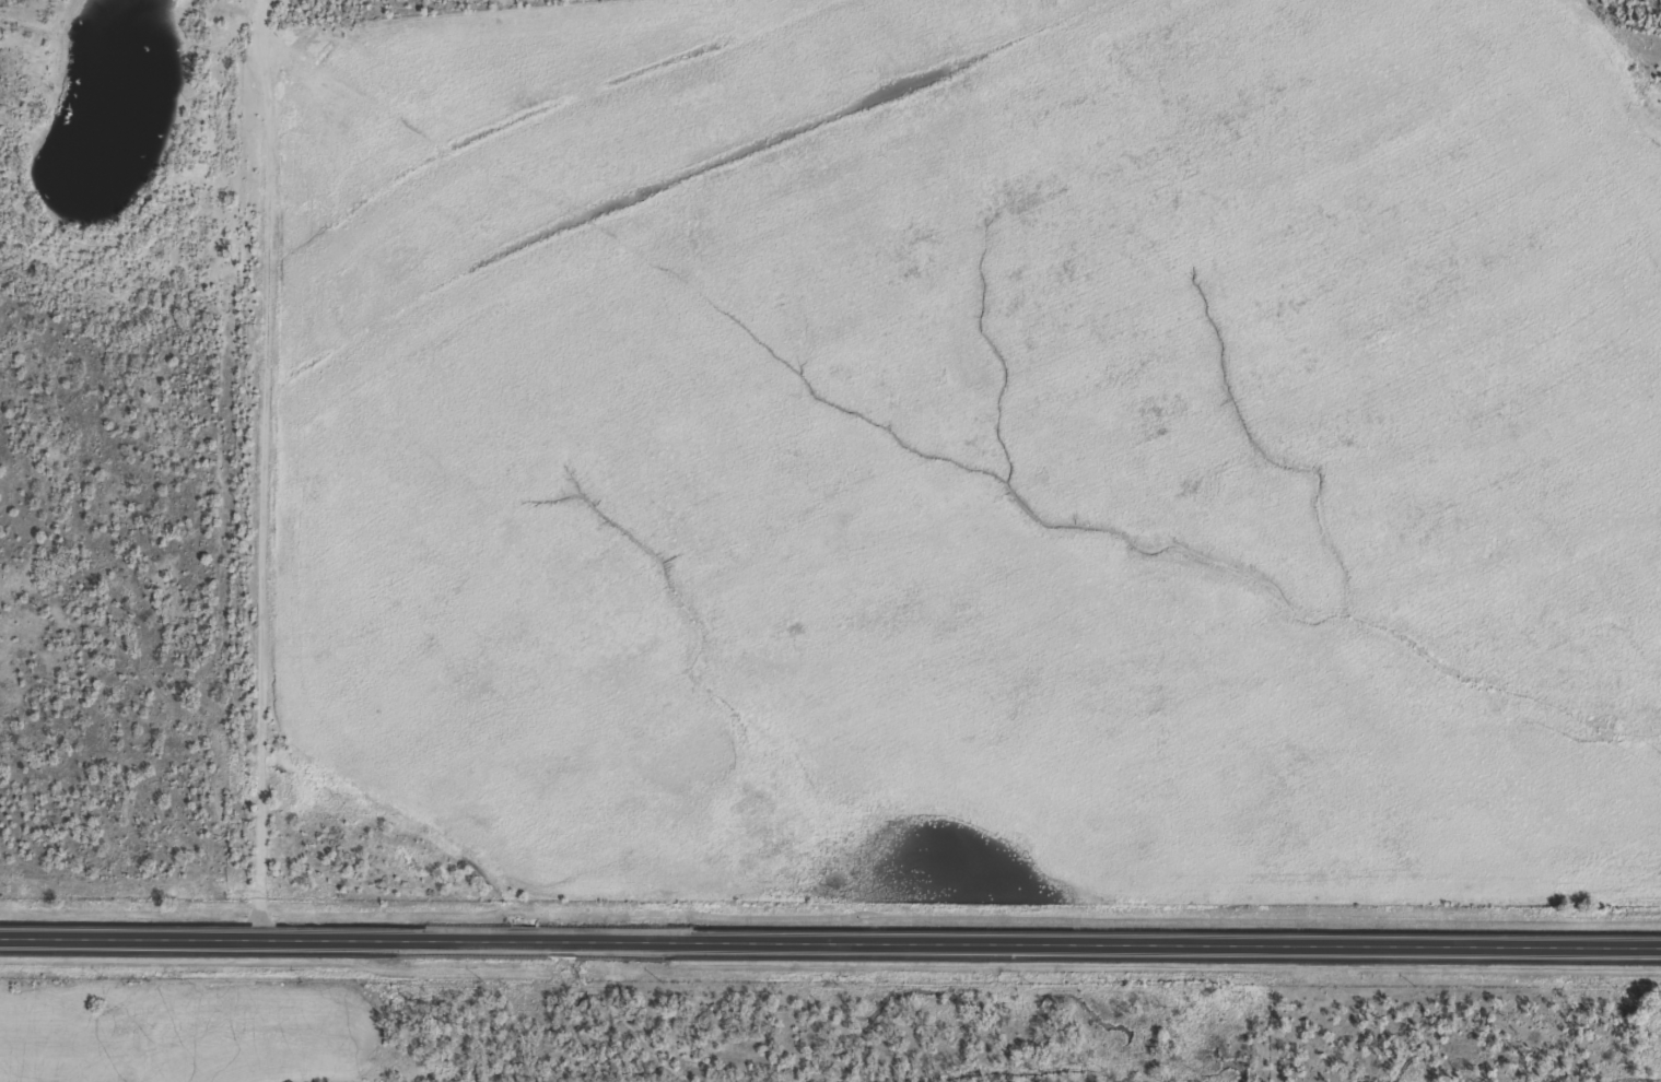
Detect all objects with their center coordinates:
road: (830, 952)

